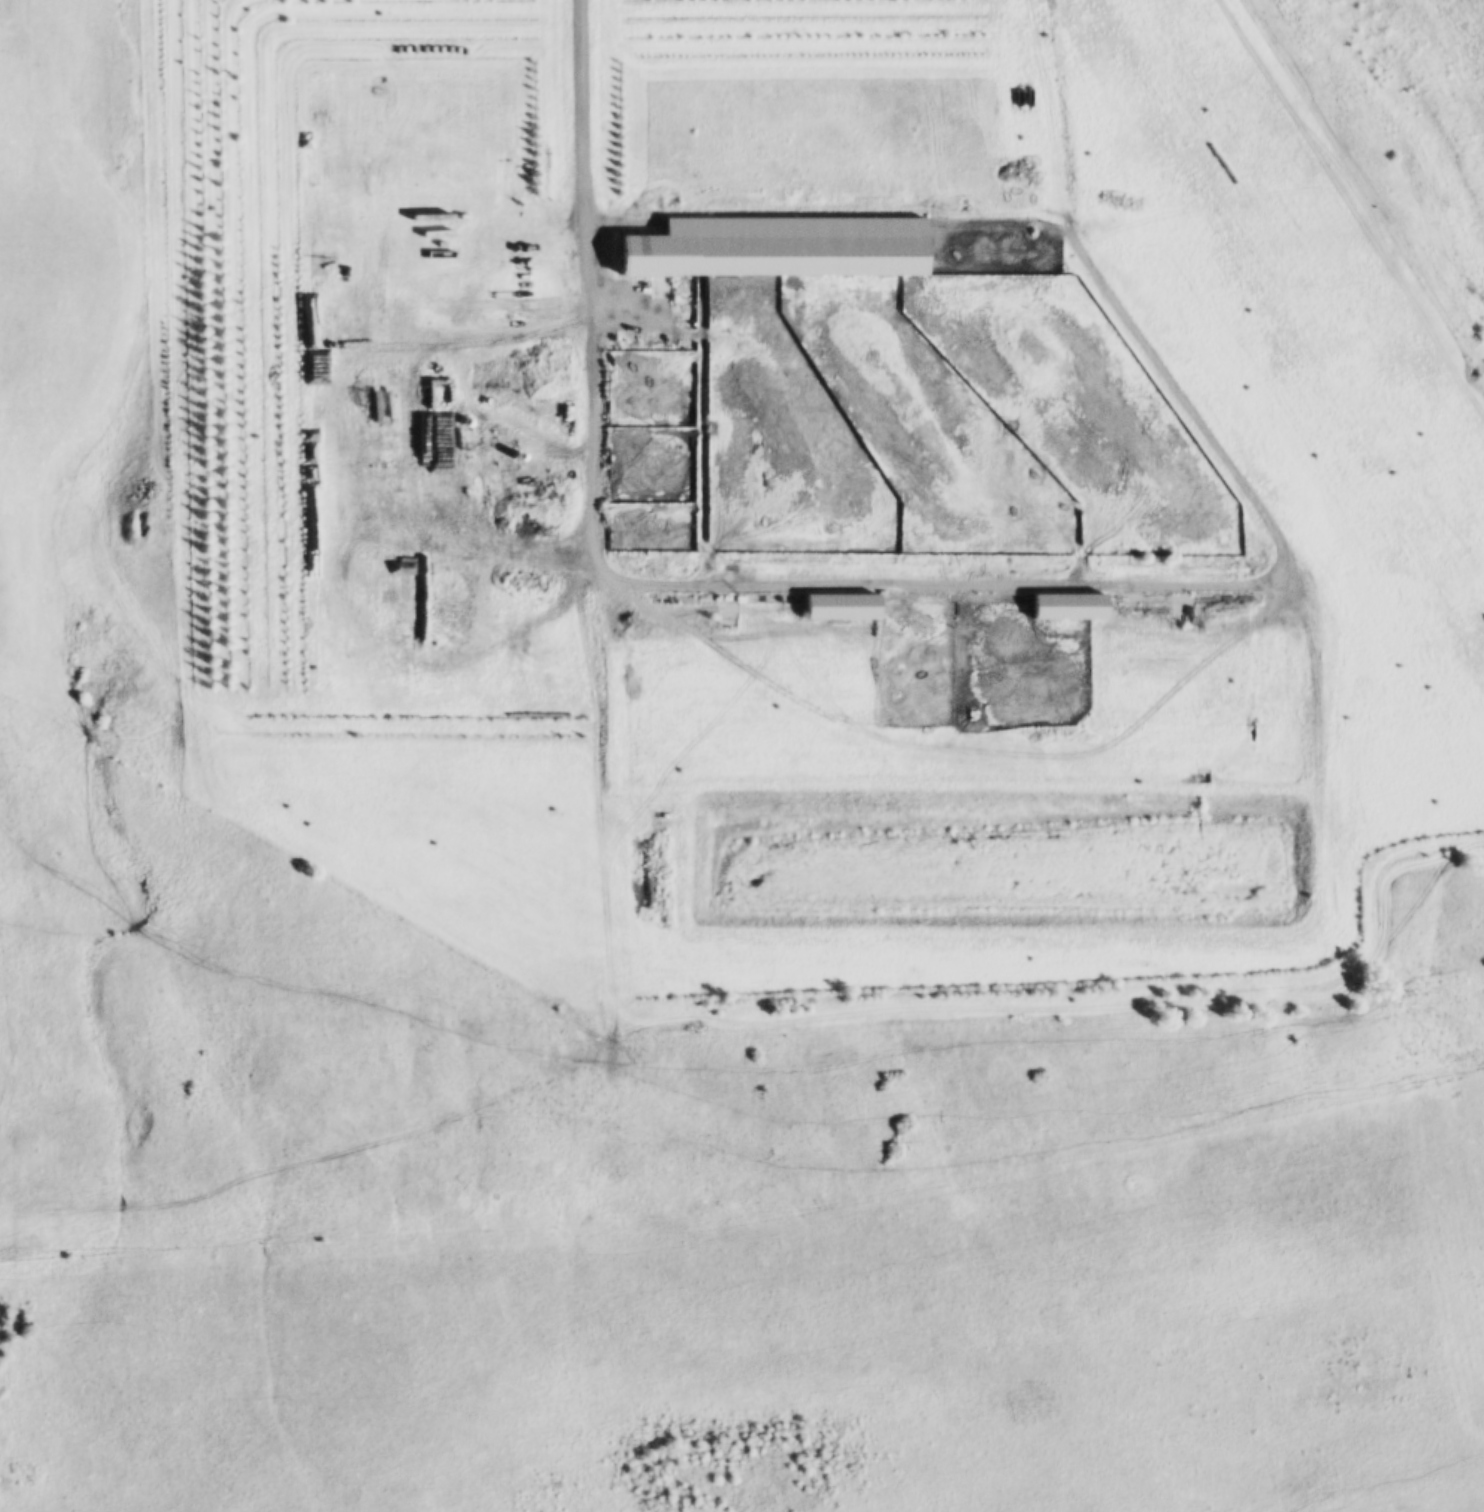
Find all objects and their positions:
road: (1351, 206)
building: (775, 238)
building: (738, 469)
road: (593, 522)
building: (840, 601)
building: (1067, 601)

